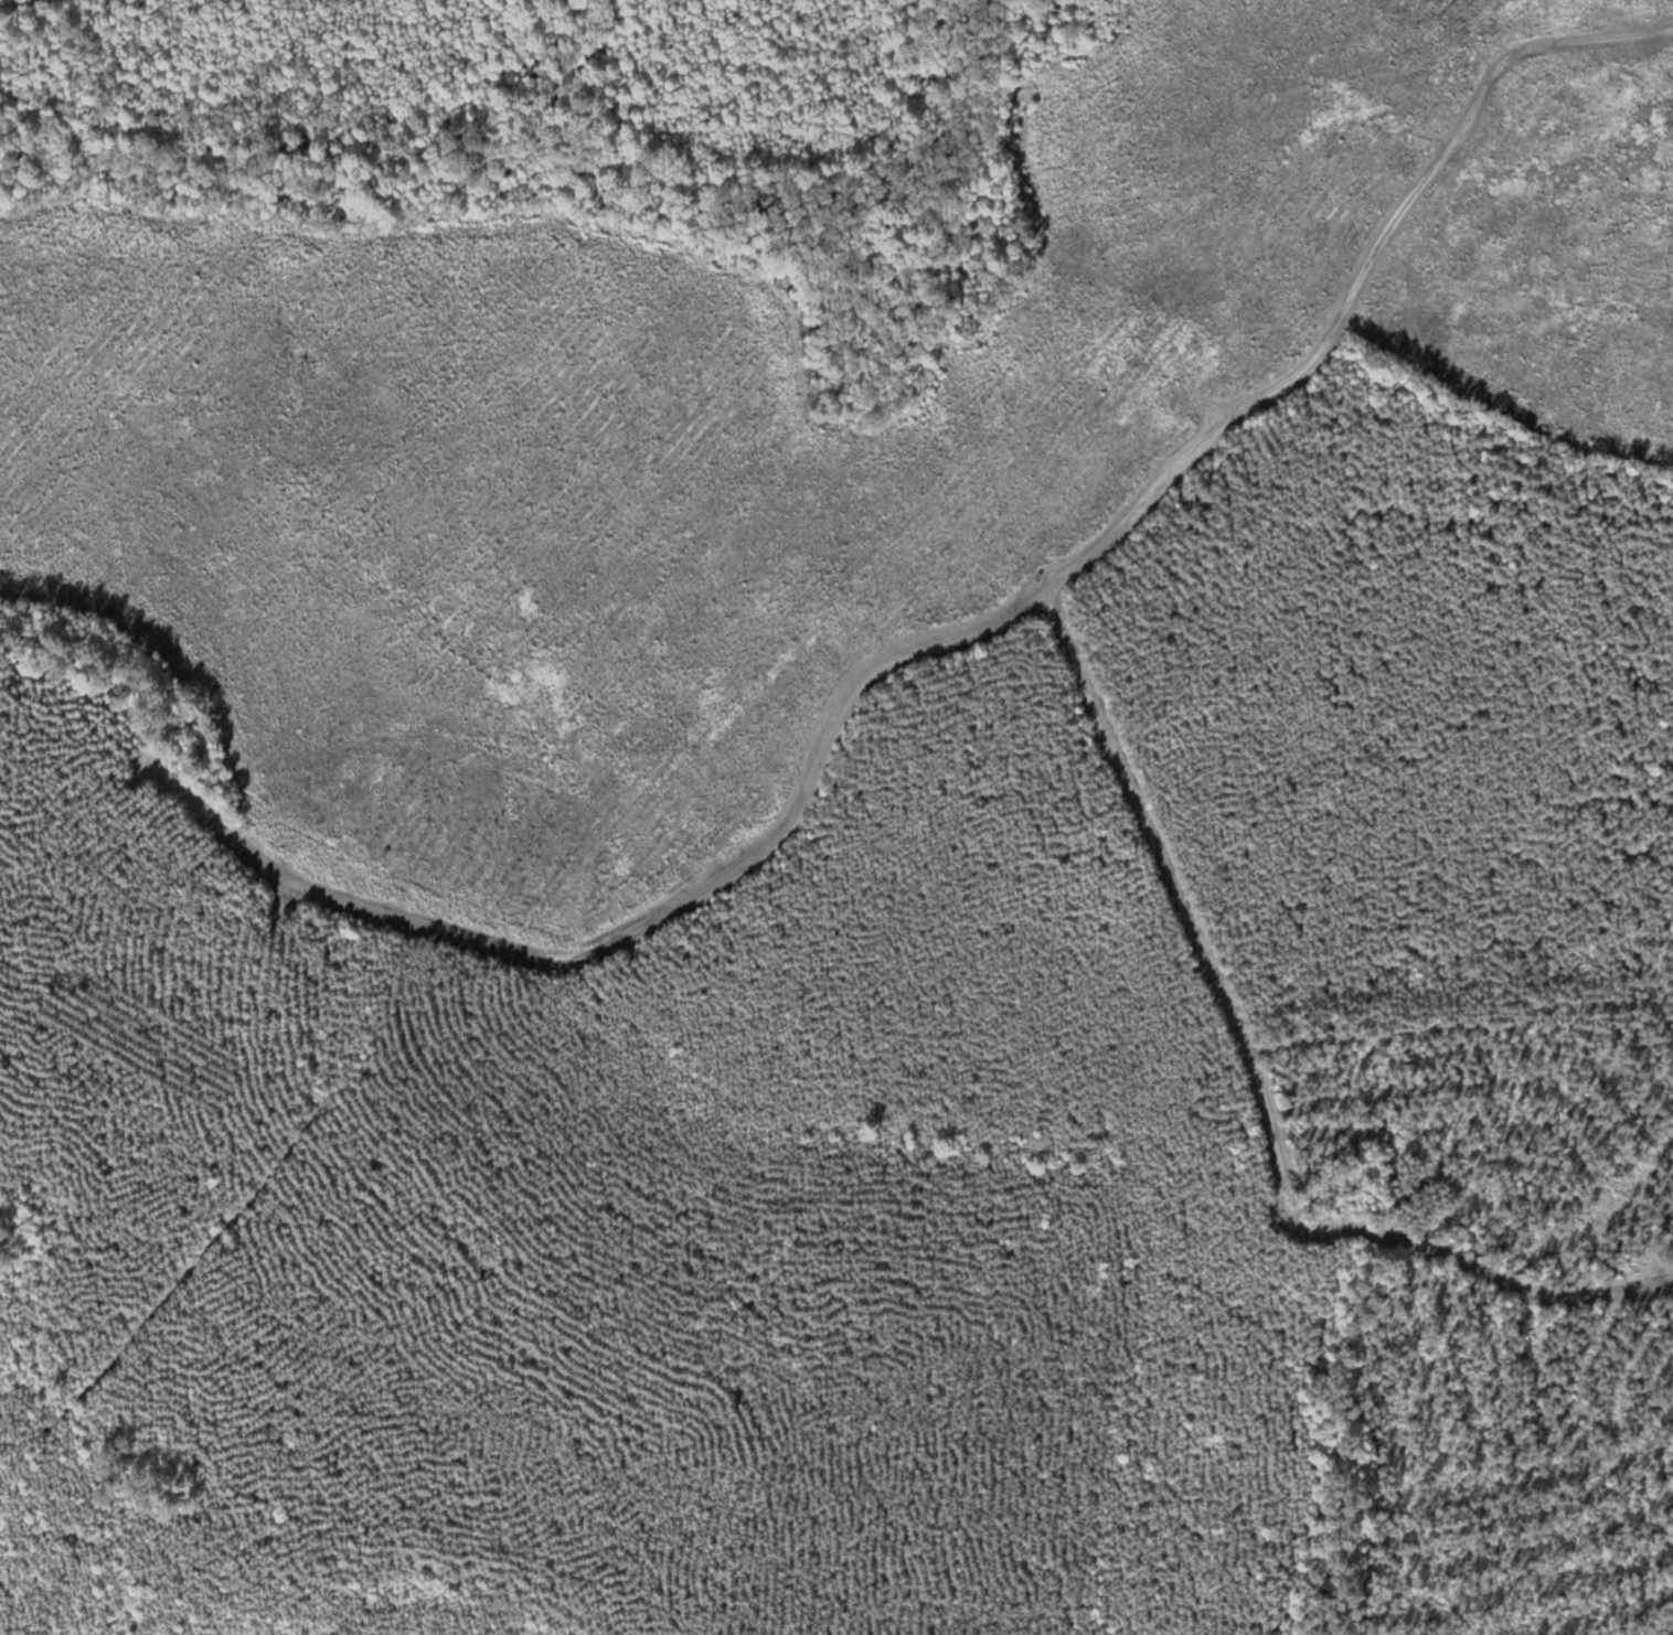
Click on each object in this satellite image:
road: (1462, 103)

